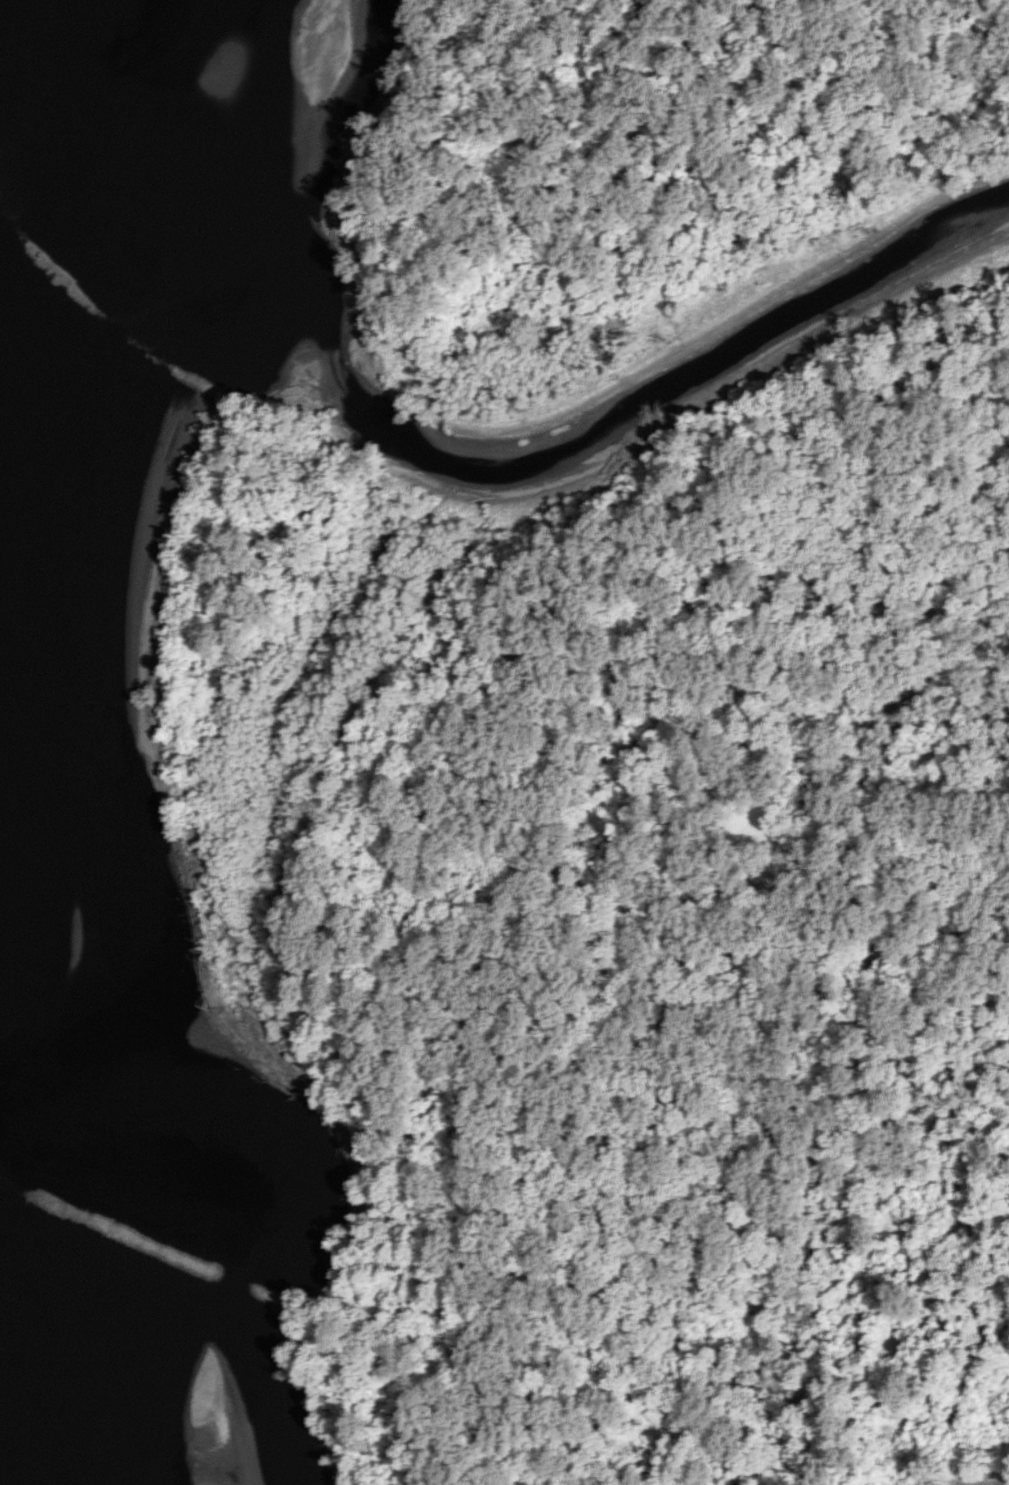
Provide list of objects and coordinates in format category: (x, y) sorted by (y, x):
crop: (941, 1477)

